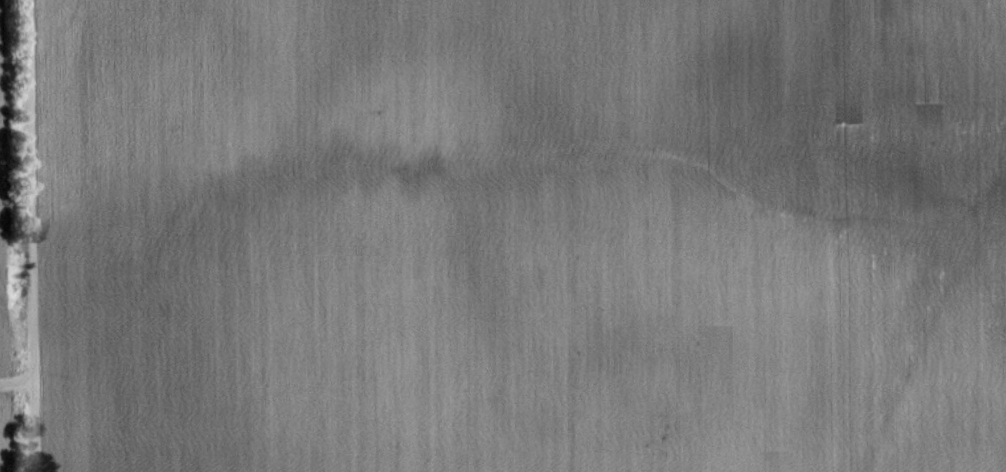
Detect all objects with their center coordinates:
road: (33, 235)
road: (18, 384)

